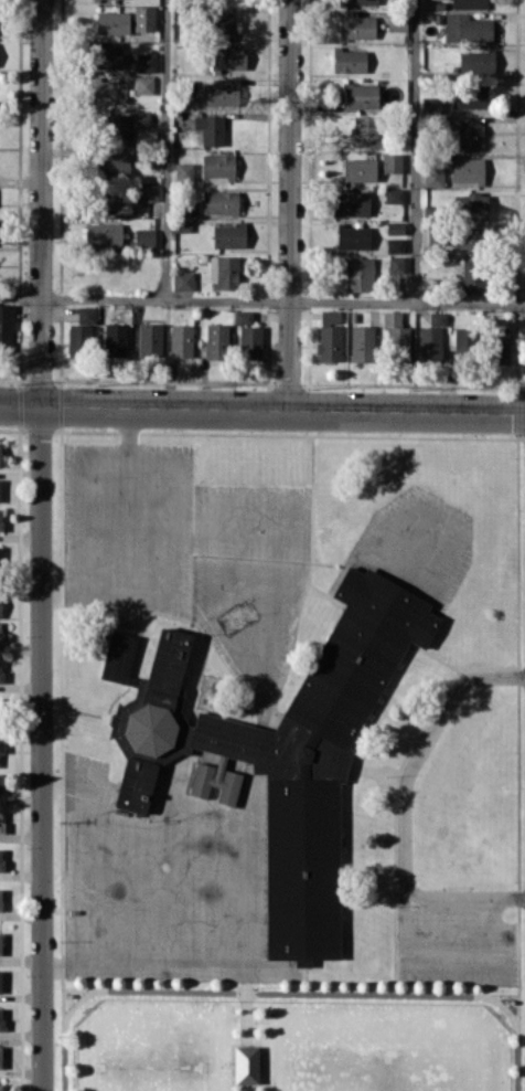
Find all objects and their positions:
building: (358, 1)
building: (470, 3)
building: (143, 18)
building: (111, 22)
building: (396, 22)
building: (223, 23)
building: (357, 27)
building: (467, 28)
building: (105, 54)
building: (228, 57)
building: (350, 60)
building: (476, 61)
building: (147, 62)
building: (144, 84)
building: (109, 91)
building: (222, 93)
building: (361, 95)
building: (469, 97)
building: (431, 105)
building: (125, 125)
building: (210, 129)
building: (366, 130)
building: (469, 135)
road: (170, 149)
road: (415, 151)
building: (392, 162)
building: (111, 163)
building: (218, 166)
building: (360, 169)
building: (467, 170)
building: (184, 171)
building: (433, 177)
road: (21, 181)
building: (149, 191)
building: (394, 194)
building: (110, 199)
building: (219, 202)
building: (351, 202)
road: (291, 204)
building: (470, 205)
building: (182, 225)
building: (395, 227)
building: (104, 233)
building: (228, 235)
building: (353, 236)
building: (144, 239)
building: (469, 241)
building: (395, 244)
building: (396, 264)
building: (224, 272)
building: (360, 274)
building: (472, 276)
building: (183, 280)
road: (262, 299)
building: (86, 314)
building: (438, 318)
building: (6, 325)
building: (395, 329)
building: (248, 333)
building: (330, 336)
building: (79, 339)
building: (115, 339)
building: (149, 339)
building: (180, 340)
building: (216, 340)
building: (362, 342)
building: (431, 343)
building: (501, 347)
road: (262, 407)
building: (0, 453)
road: (128, 491)
building: (0, 518)
road: (42, 544)
building: (0, 604)
building: (0, 632)
building: (0, 671)
building: (1, 744)
building: (280, 766)
building: (0, 783)
road: (403, 803)
building: (0, 822)
building: (0, 859)
building: (0, 899)
road: (492, 910)
building: (0, 942)
building: (0, 1018)
park: (288, 1046)
building: (0, 1056)
building: (245, 1064)
building: (1, 1087)

